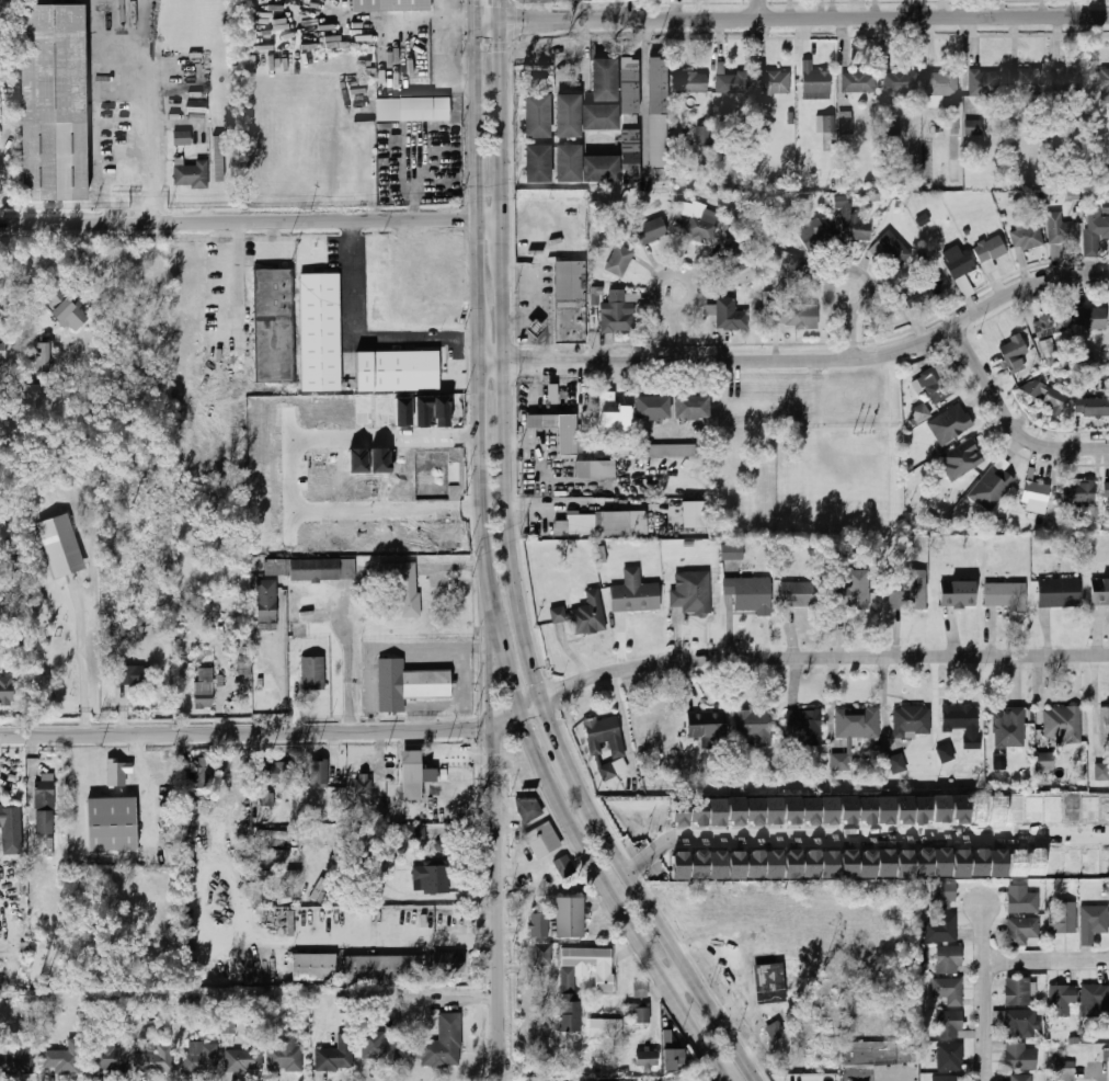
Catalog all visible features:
road: (892, 1)
building: (392, 2)
road: (477, 9)
road: (676, 9)
road: (762, 10)
road: (460, 15)
traffic signals: (462, 16)
road: (792, 20)
traffic signals: (517, 22)
road: (444, 39)
traffic signals: (504, 50)
building: (605, 73)
road: (641, 75)
building: (1068, 80)
building: (1101, 80)
building: (775, 81)
building: (858, 81)
building: (901, 81)
building: (1026, 81)
road: (461, 82)
building: (693, 82)
building: (734, 82)
building: (815, 82)
building: (942, 82)
building: (983, 82)
building: (53, 102)
building: (413, 102)
road: (504, 105)
building: (537, 110)
building: (569, 110)
building: (602, 110)
building: (630, 114)
building: (659, 117)
building: (846, 122)
building: (825, 124)
building: (973, 127)
building: (705, 134)
building: (181, 137)
road: (149, 138)
building: (538, 157)
building: (570, 158)
building: (217, 160)
road: (478, 162)
building: (602, 162)
building: (191, 174)
road: (412, 184)
road: (252, 216)
building: (853, 223)
building: (701, 226)
building: (1095, 229)
building: (652, 231)
building: (811, 232)
building: (1065, 232)
building: (1028, 237)
road: (506, 239)
building: (894, 247)
building: (991, 249)
building: (734, 257)
building: (619, 260)
building: (789, 260)
building: (957, 261)
road: (847, 271)
road: (672, 273)
road: (236, 278)
building: (922, 291)
road: (542, 296)
building: (570, 296)
road: (526, 310)
building: (730, 315)
building: (792, 316)
building: (617, 317)
building: (1090, 319)
building: (535, 322)
building: (272, 323)
building: (1049, 325)
building: (318, 331)
road: (480, 333)
road: (850, 334)
road: (674, 335)
road: (353, 339)
building: (1048, 352)
building: (1015, 354)
building: (44, 355)
building: (1, 356)
road: (803, 360)
building: (399, 365)
building: (936, 385)
building: (550, 390)
building: (1049, 396)
building: (37, 397)
building: (652, 407)
building: (691, 407)
building: (1093, 407)
building: (607, 410)
building: (922, 412)
building: (950, 423)
road: (1010, 423)
building: (564, 441)
building: (670, 450)
building: (962, 459)
building: (593, 468)
road: (293, 476)
road: (511, 483)
building: (992, 488)
building: (1107, 488)
building: (1079, 491)
road: (481, 492)
building: (1036, 497)
building: (695, 515)
building: (618, 521)
building: (573, 523)
building: (60, 545)
building: (732, 553)
building: (310, 568)
building: (403, 584)
building: (910, 590)
building: (691, 591)
building: (858, 591)
building: (1059, 592)
building: (1100, 592)
building: (634, 593)
building: (750, 594)
building: (801, 594)
building: (958, 594)
building: (1005, 595)
building: (265, 600)
building: (584, 615)
road: (390, 647)
road: (82, 656)
road: (822, 660)
road: (348, 661)
road: (506, 665)
building: (310, 672)
road: (491, 674)
building: (129, 675)
building: (404, 684)
building: (8, 691)
building: (204, 693)
traffic signals: (514, 693)
traffic signals: (553, 694)
road: (453, 702)
traffic signals: (500, 719)
building: (858, 722)
building: (912, 722)
building: (963, 722)
building: (1105, 722)
building: (1063, 724)
building: (707, 725)
traffic signals: (550, 726)
building: (753, 726)
building: (804, 728)
building: (1008, 728)
building: (663, 732)
road: (274, 735)
road: (553, 736)
building: (604, 736)
building: (945, 753)
building: (999, 762)
building: (1045, 762)
building: (894, 764)
building: (608, 771)
building: (1101, 771)
building: (281, 772)
building: (204, 773)
building: (412, 773)
building: (119, 774)
building: (319, 775)
building: (363, 784)
building: (44, 807)
building: (940, 808)
building: (848, 809)
building: (885, 809)
building: (904, 809)
building: (922, 809)
building: (960, 809)
building: (997, 809)
building: (1016, 809)
building: (529, 810)
building: (735, 810)
building: (754, 810)
building: (773, 810)
building: (791, 810)
building: (810, 810)
building: (830, 810)
building: (867, 810)
building: (979, 810)
building: (1034, 810)
building: (698, 811)
building: (717, 811)
building: (679, 812)
building: (111, 823)
building: (11, 829)
building: (418, 833)
building: (275, 834)
road: (861, 835)
building: (542, 839)
building: (275, 855)
building: (923, 862)
building: (941, 862)
building: (885, 863)
building: (979, 863)
building: (1017, 863)
building: (1034, 863)
building: (1054, 863)
building: (754, 864)
building: (773, 864)
building: (792, 864)
building: (811, 864)
building: (847, 864)
building: (867, 864)
building: (904, 864)
building: (960, 864)
building: (997, 864)
building: (698, 865)
building: (717, 865)
building: (736, 865)
building: (830, 865)
building: (679, 866)
building: (564, 867)
building: (278, 875)
building: (428, 876)
building: (321, 890)
building: (940, 894)
building: (275, 896)
road: (614, 898)
road: (436, 899)
building: (1022, 899)
road: (499, 902)
building: (569, 917)
building: (1062, 917)
building: (1093, 921)
building: (539, 925)
road: (662, 928)
building: (940, 928)
building: (1024, 932)
road: (403, 937)
building: (542, 955)
building: (949, 959)
road: (1048, 960)
building: (444, 961)
building: (593, 964)
building: (311, 966)
building: (379, 966)
building: (765, 977)
road: (683, 986)
building: (949, 990)
building: (1018, 991)
road: (986, 993)
building: (1095, 997)
building: (1062, 1000)
building: (570, 1001)
building: (637, 1014)
building: (1018, 1022)
building: (949, 1024)
building: (228, 1025)
building: (605, 1028)
building: (775, 1031)
building: (443, 1045)
building: (380, 1048)
building: (672, 1051)
building: (285, 1054)
building: (336, 1055)
building: (108, 1056)
building: (950, 1056)
building: (204, 1057)
building: (1020, 1057)
building: (16, 1059)
building: (62, 1059)
building: (156, 1059)
building: (647, 1059)
building: (243, 1060)
building: (1064, 1069)
building: (948, 1078)
building: (1019, 1078)
road: (1106, 1079)
building: (587, 1080)

